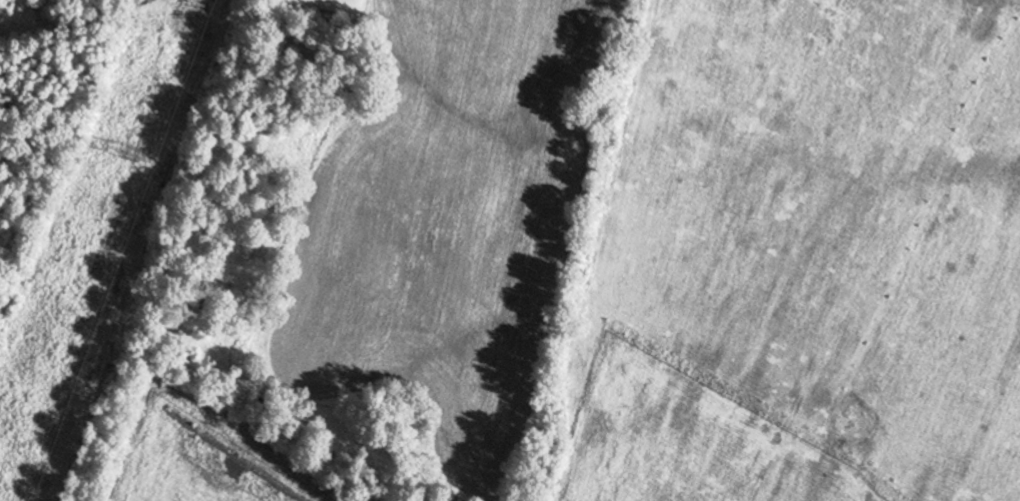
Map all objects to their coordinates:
power tower: (131, 152)

